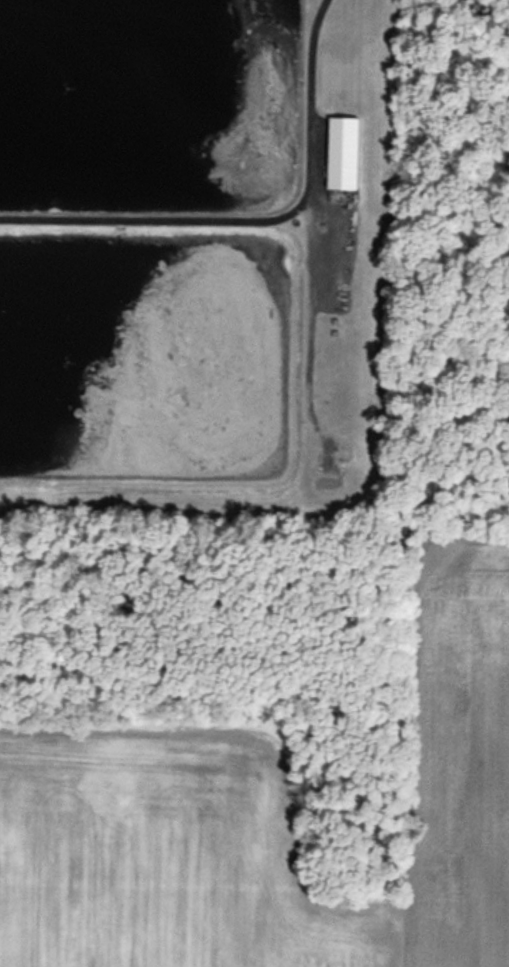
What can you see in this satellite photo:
building: (344, 155)
road: (257, 219)
crop: (269, 820)

